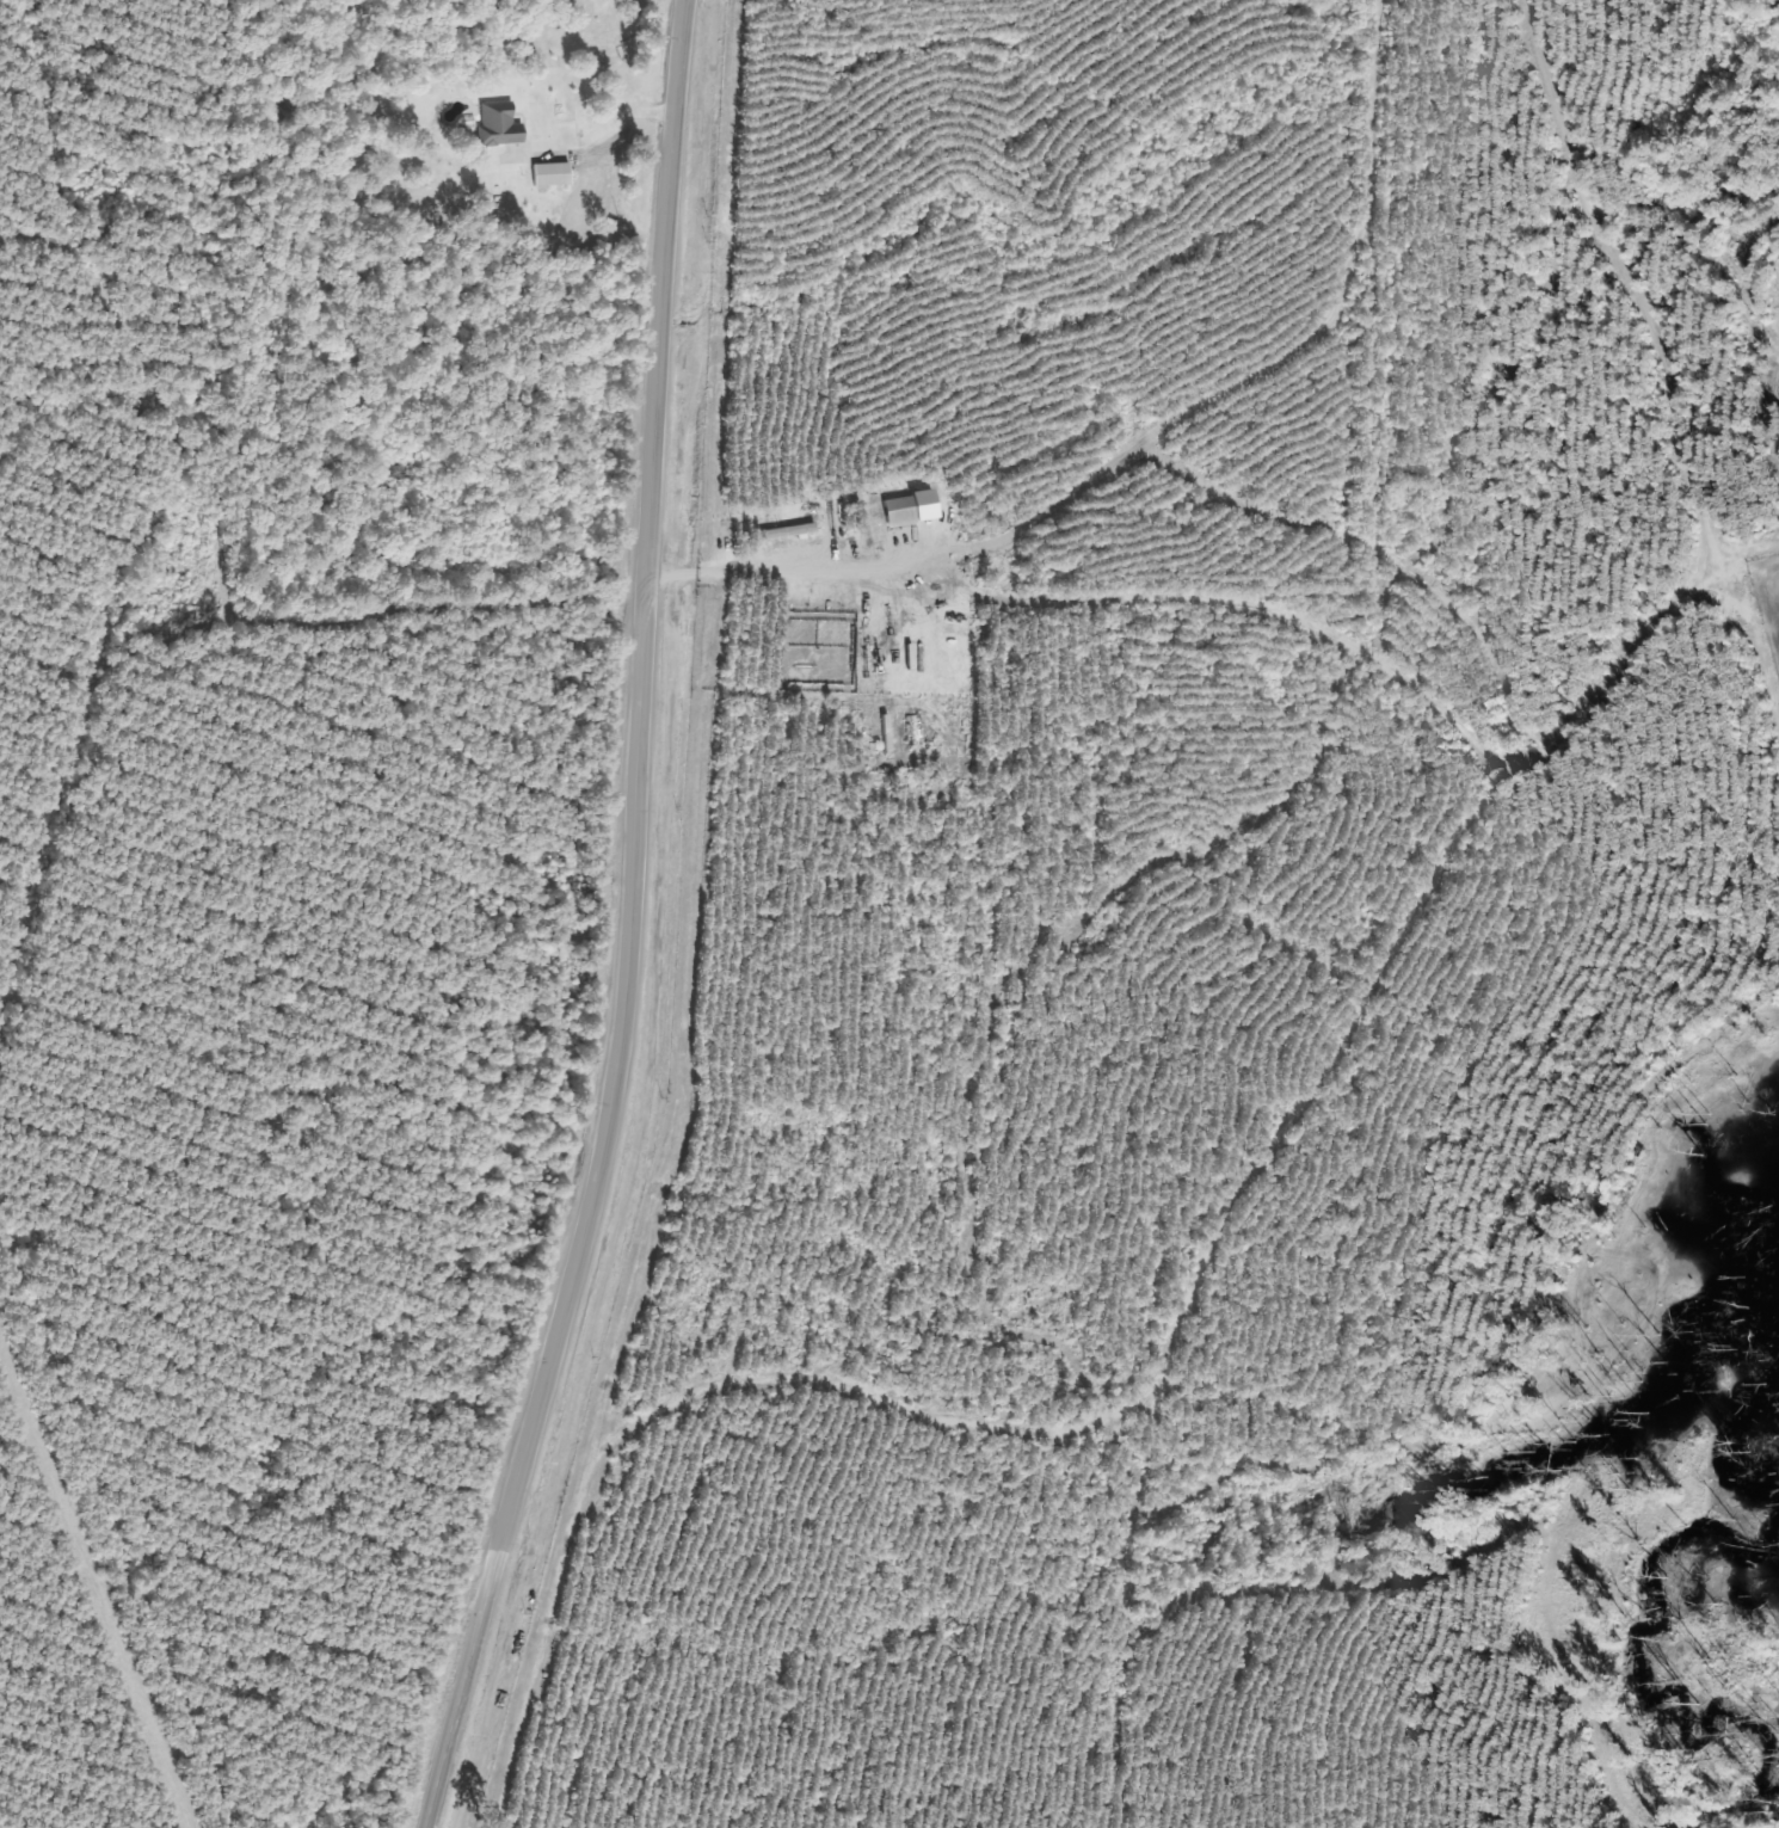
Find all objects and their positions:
building: (501, 128)
building: (552, 174)
building: (900, 512)
road: (630, 924)

